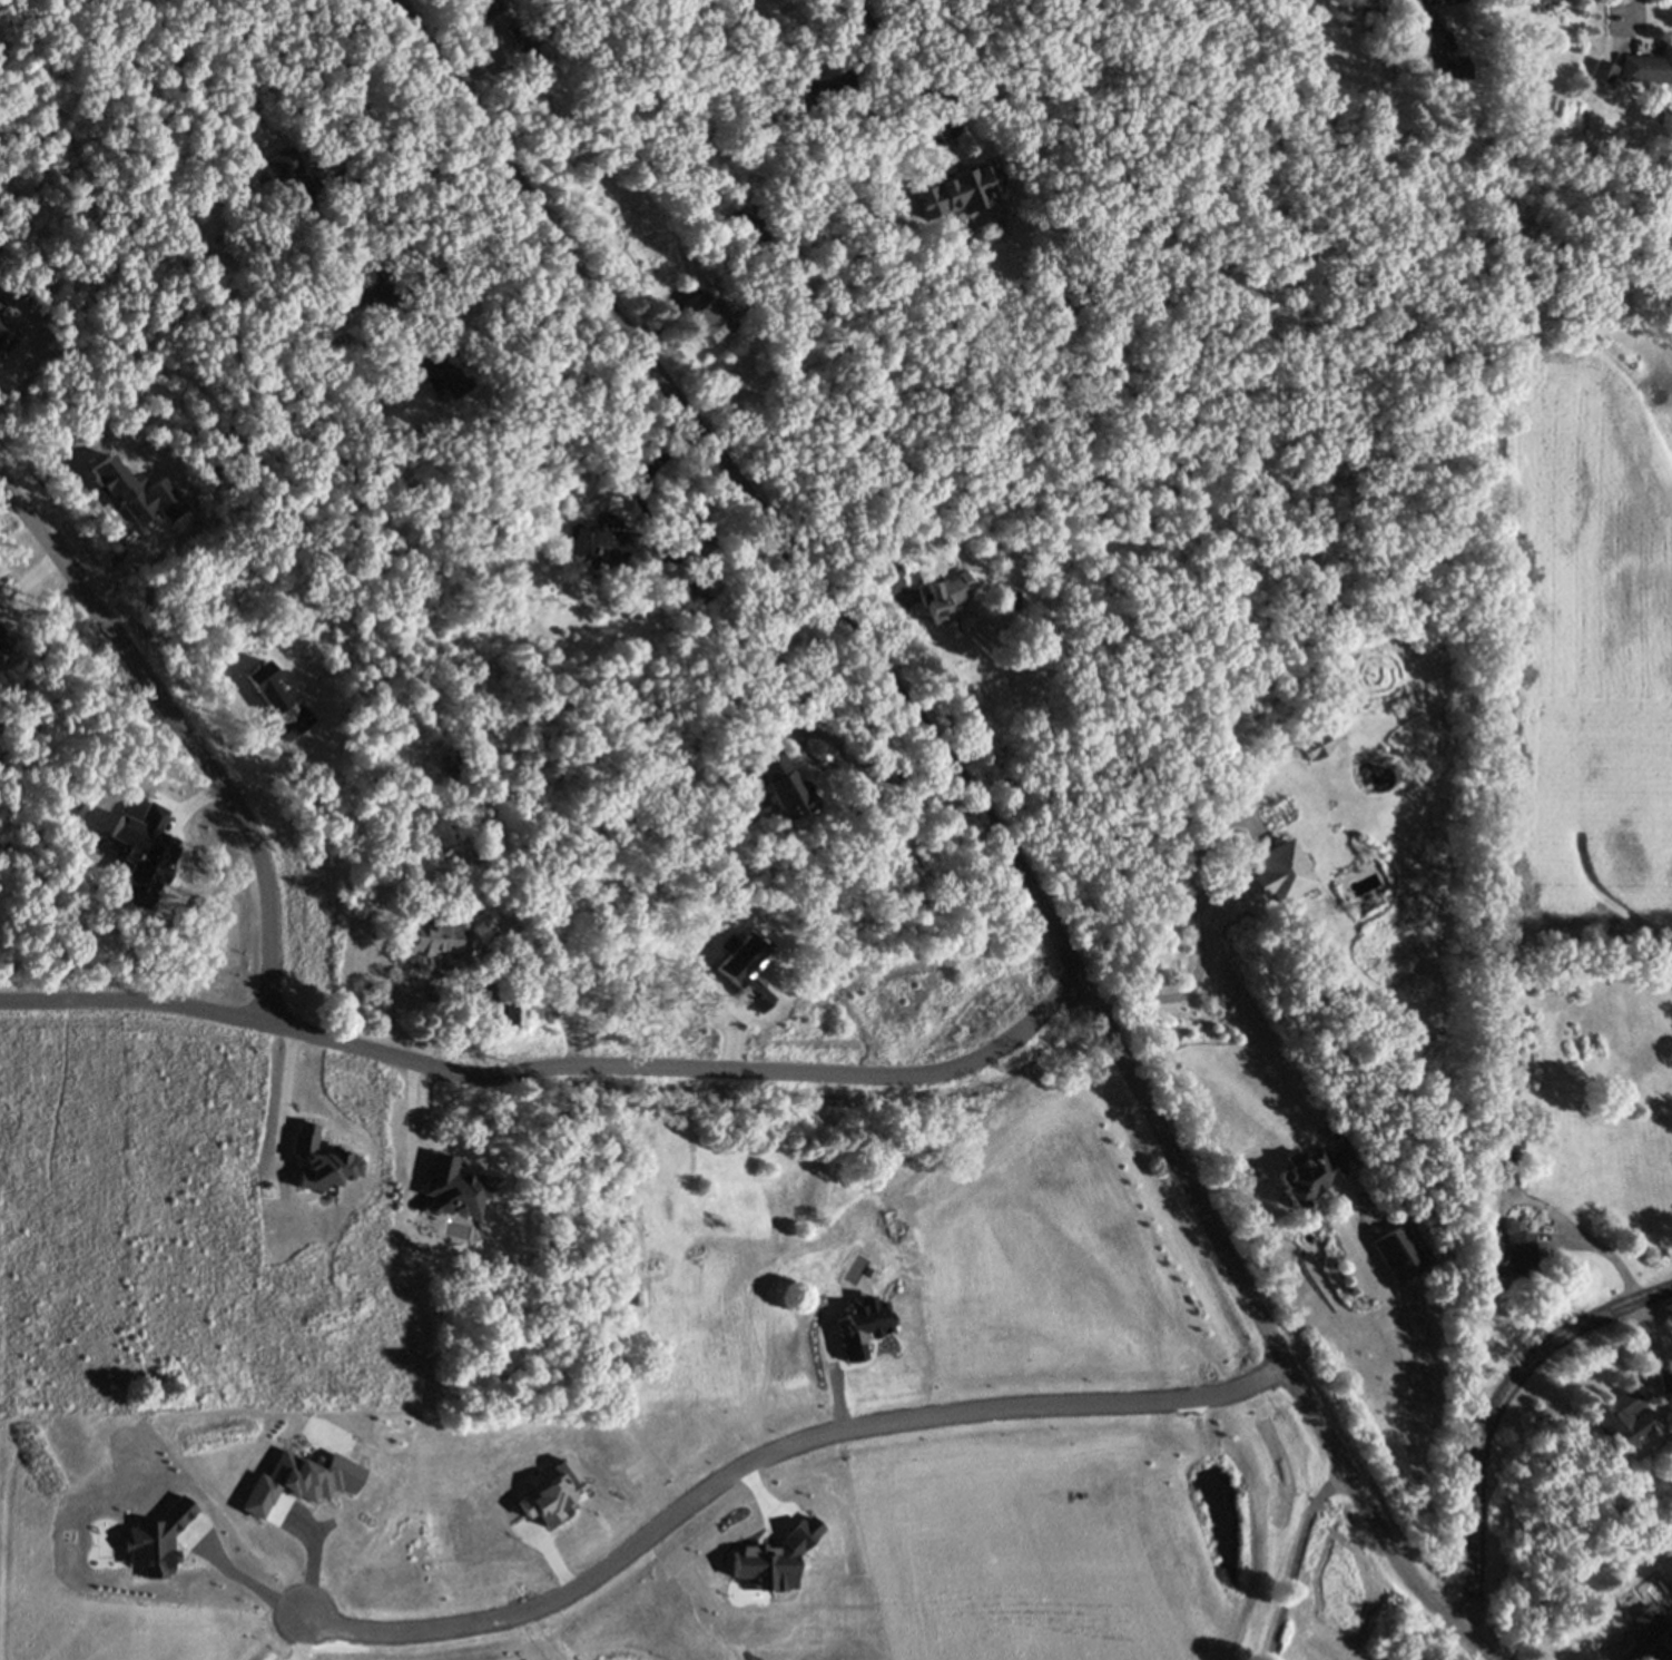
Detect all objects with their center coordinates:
building: (7, 0)
building: (1453, 0)
building: (19, 1)
road: (1426, 1)
building: (1534, 1)
building: (1523, 2)
building: (488, 6)
road: (1630, 14)
building: (39, 20)
building: (521, 30)
building: (1438, 52)
building: (1646, 66)
building: (1599, 71)
building: (1586, 94)
building: (794, 98)
road: (849, 111)
road: (875, 115)
road: (951, 137)
road: (412, 165)
building: (292, 178)
building: (955, 191)
building: (720, 203)
building: (749, 224)
building: (957, 235)
building: (222, 243)
building: (375, 281)
road: (480, 288)
building: (706, 314)
building: (447, 371)
building: (366, 395)
road: (641, 477)
building: (689, 529)
building: (602, 542)
building: (892, 576)
building: (695, 590)
building: (1012, 591)
building: (944, 596)
crop: (1574, 598)
building: (1009, 602)
road: (185, 733)
building: (1310, 744)
road: (840, 760)
building: (780, 785)
road: (978, 808)
building: (1279, 872)
building: (441, 941)
road: (1186, 992)
road: (793, 1003)
building: (513, 1008)
road: (550, 1064)
road: (285, 1091)
building: (1484, 1100)
building: (1505, 1136)
building: (675, 1156)
road: (941, 1158)
building: (1312, 1172)
building: (788, 1198)
road: (1599, 1246)
building: (1400, 1251)
building: (1508, 1257)
building: (712, 1275)
building: (840, 1284)
crop: (226, 1312)
building: (757, 1348)
building: (1659, 1379)
road: (1407, 1389)
road: (1491, 1415)
building: (1614, 1417)
road: (773, 1454)
road: (1294, 1558)
road: (240, 1576)
building: (1645, 1637)

